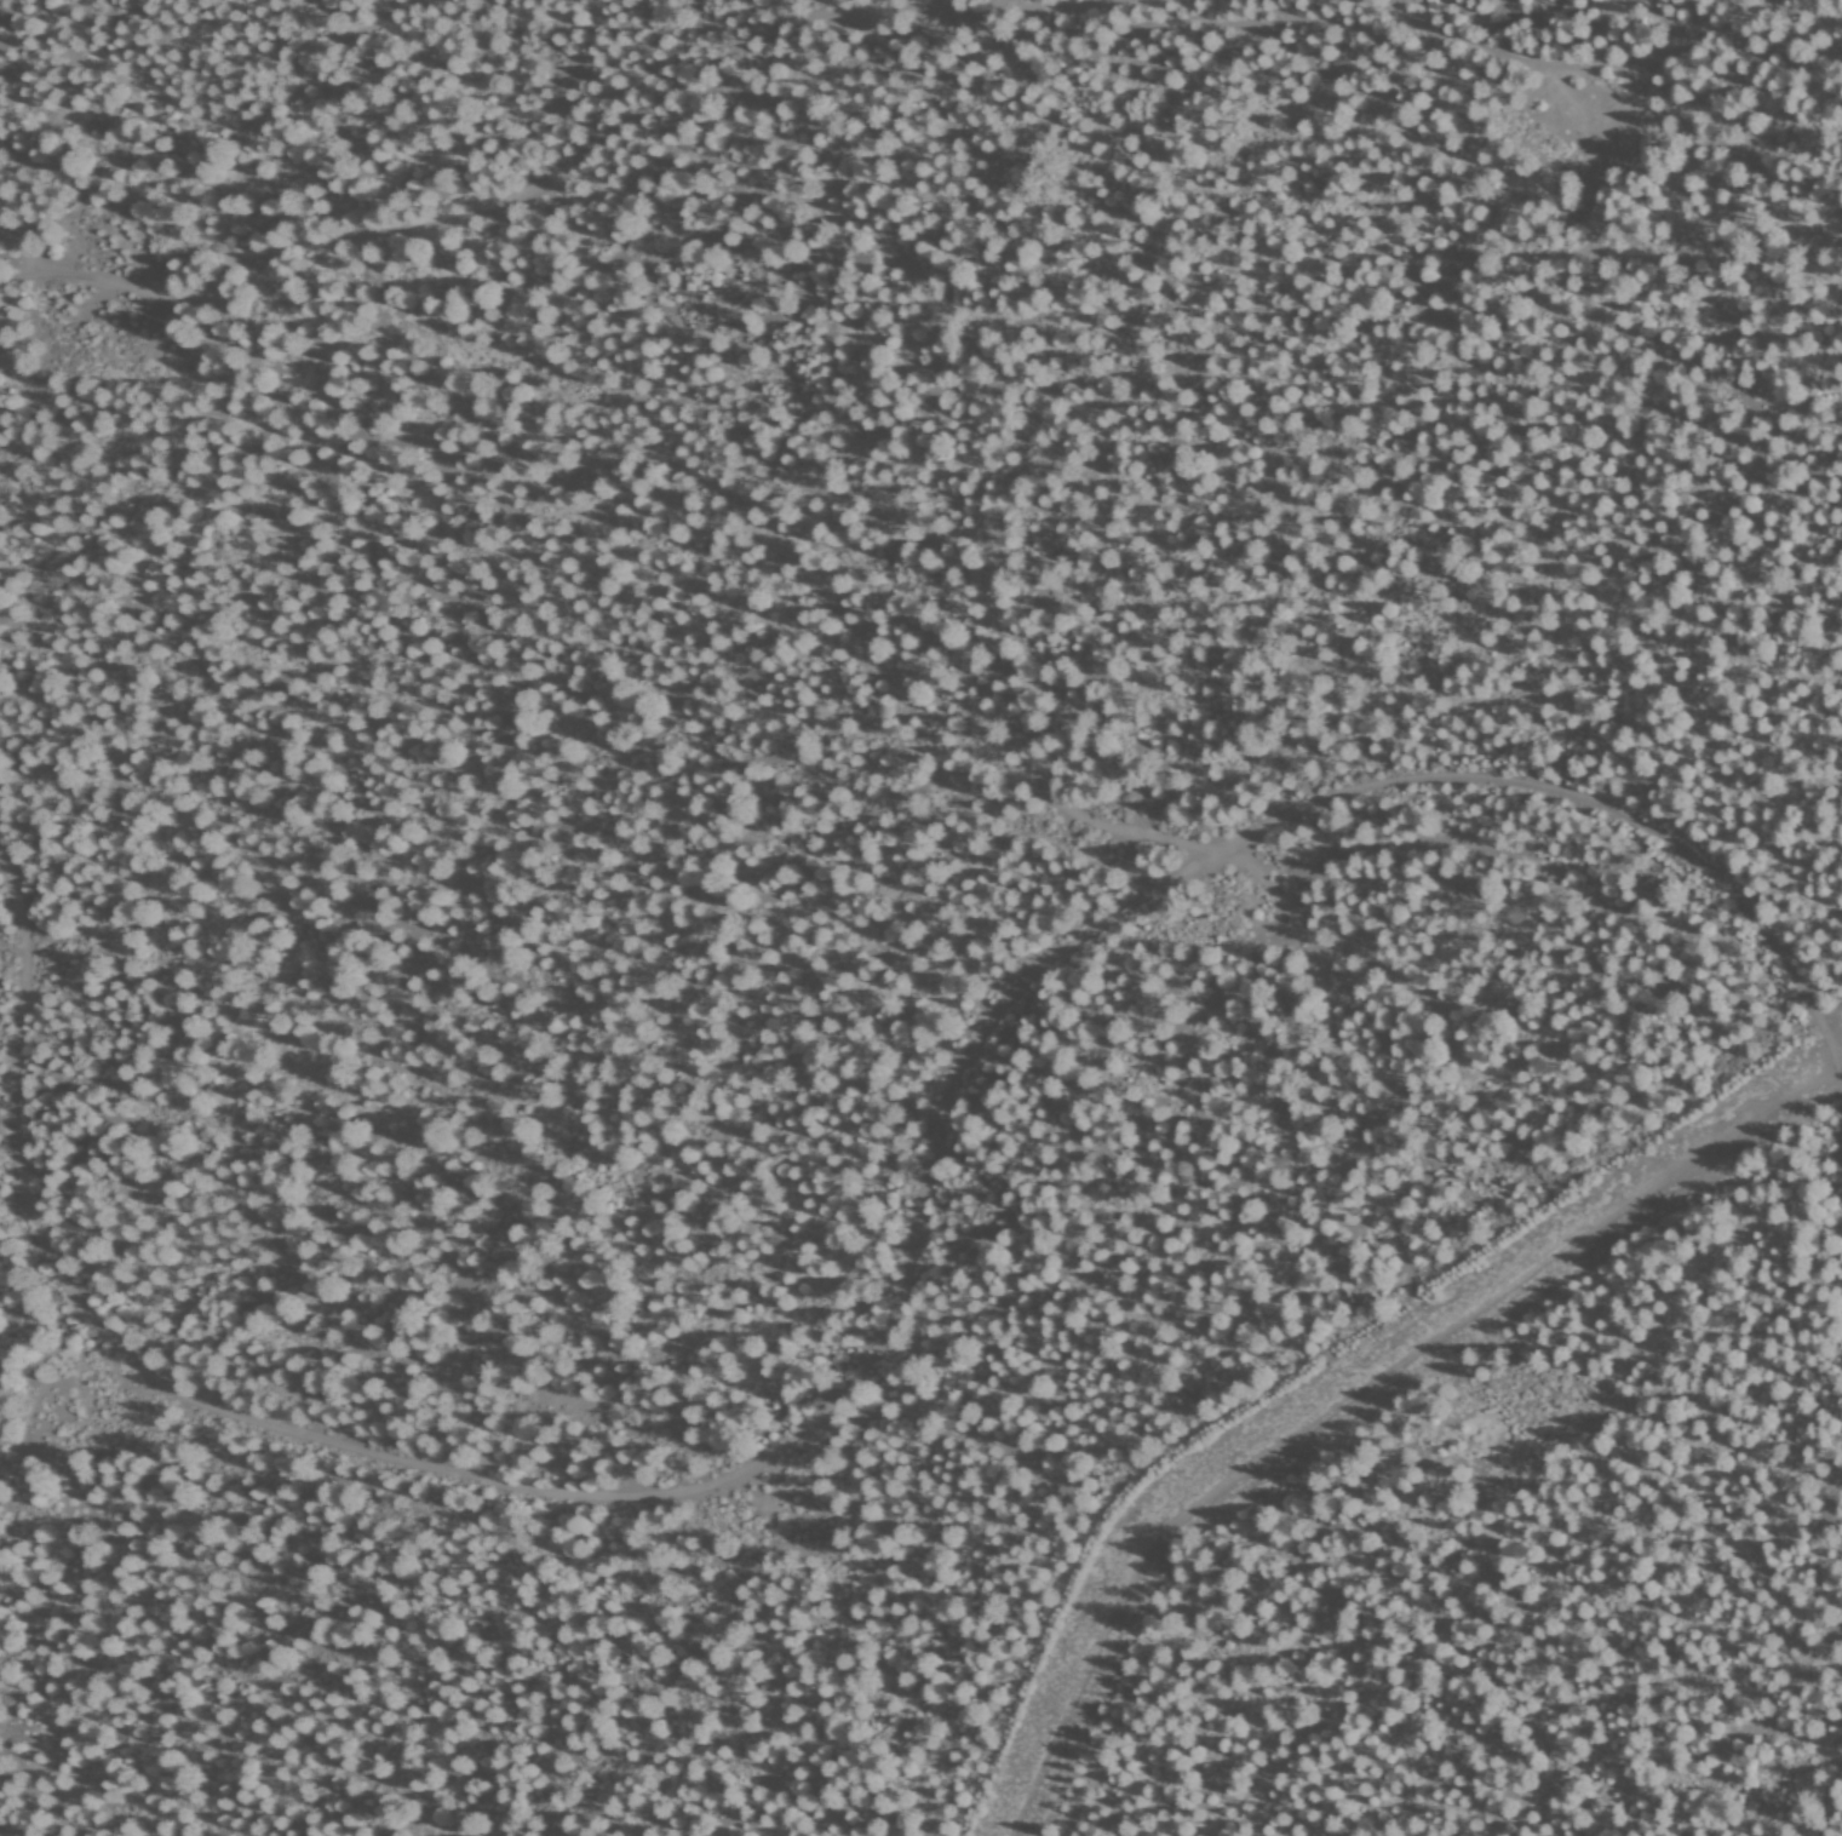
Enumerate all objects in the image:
road: (1505, 53)
road: (538, 191)
road: (1560, 268)
road: (879, 1341)
road: (1364, 1392)

